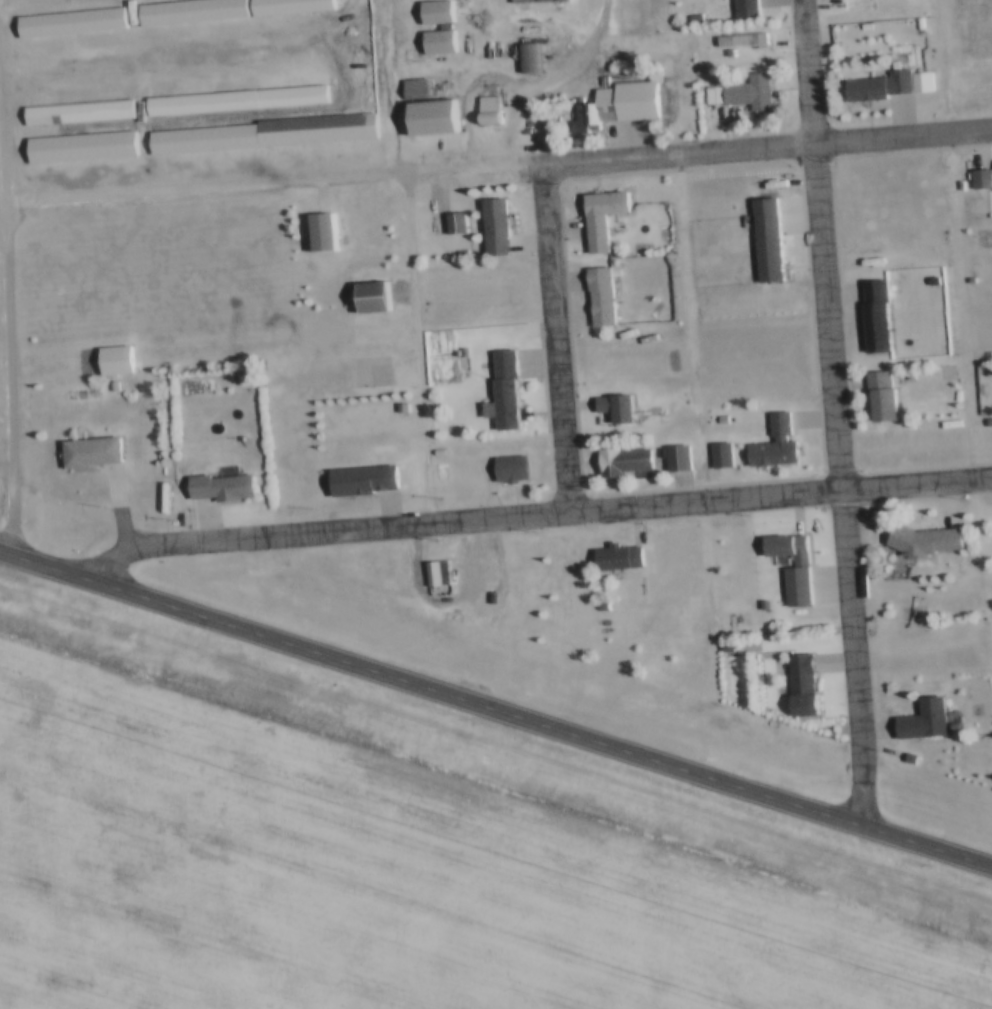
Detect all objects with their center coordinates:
building: (534, 2)
building: (286, 7)
building: (742, 10)
building: (186, 12)
building: (432, 12)
building: (68, 23)
building: (915, 23)
building: (861, 27)
building: (738, 42)
building: (435, 43)
building: (413, 55)
building: (528, 60)
building: (599, 80)
road: (541, 86)
building: (883, 86)
building: (411, 89)
building: (747, 94)
building: (711, 97)
building: (232, 102)
building: (485, 110)
building: (76, 113)
building: (590, 116)
building: (430, 119)
building: (265, 134)
building: (78, 148)
road: (768, 150)
building: (977, 180)
building: (598, 217)
building: (452, 224)
building: (491, 228)
building: (321, 235)
building: (763, 242)
building: (966, 280)
building: (929, 281)
building: (597, 297)
building: (370, 298)
building: (873, 317)
road: (12, 321)
road: (558, 340)
building: (455, 352)
building: (113, 362)
park: (365, 370)
park: (940, 371)
building: (988, 371)
building: (904, 376)
building: (237, 381)
building: (108, 386)
building: (501, 392)
building: (877, 396)
building: (398, 409)
building: (614, 410)
road: (838, 414)
building: (717, 420)
building: (986, 422)
building: (239, 441)
building: (772, 445)
building: (435, 453)
building: (90, 454)
building: (718, 457)
building: (672, 458)
building: (622, 464)
building: (507, 469)
building: (359, 482)
building: (220, 486)
road: (536, 514)
building: (920, 541)
building: (615, 558)
building: (434, 573)
building: (791, 586)
building: (759, 603)
building: (795, 683)
road: (495, 711)
building: (916, 717)
building: (948, 724)
building: (900, 753)

